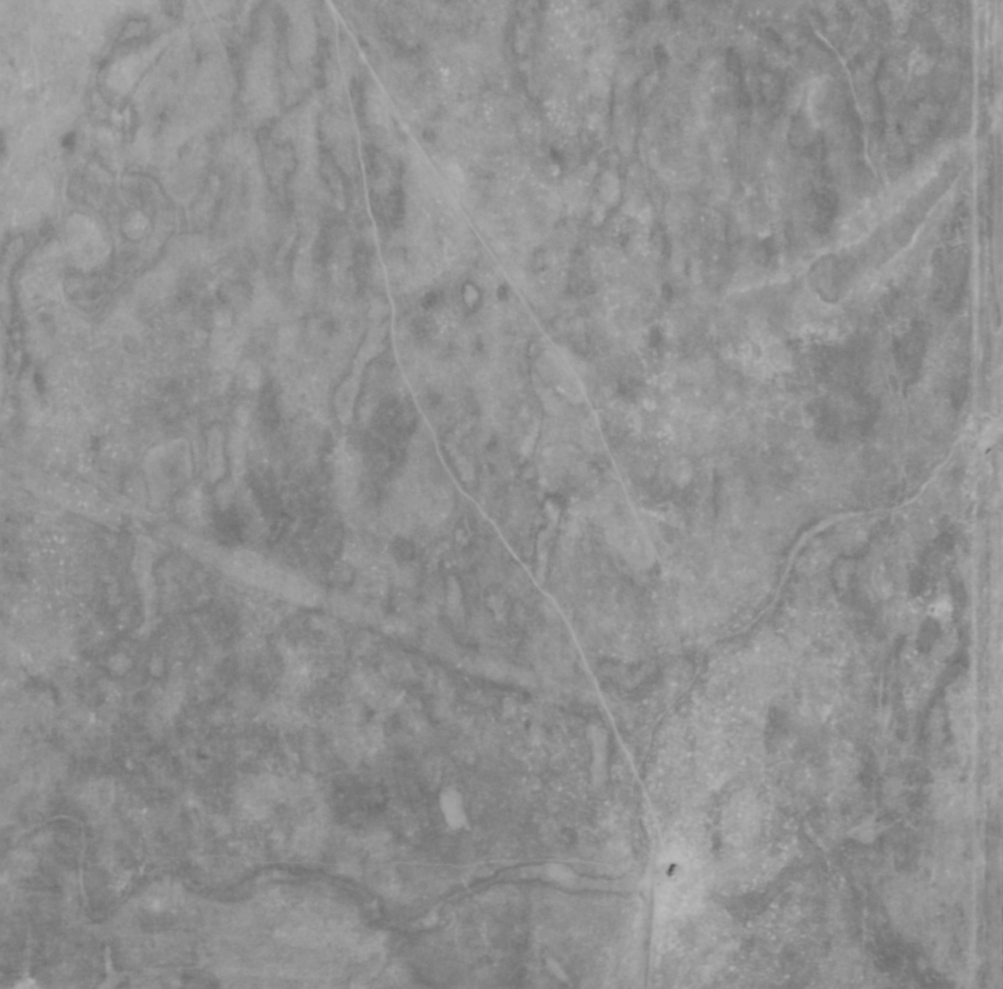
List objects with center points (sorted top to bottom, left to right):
railway: (991, 204)

